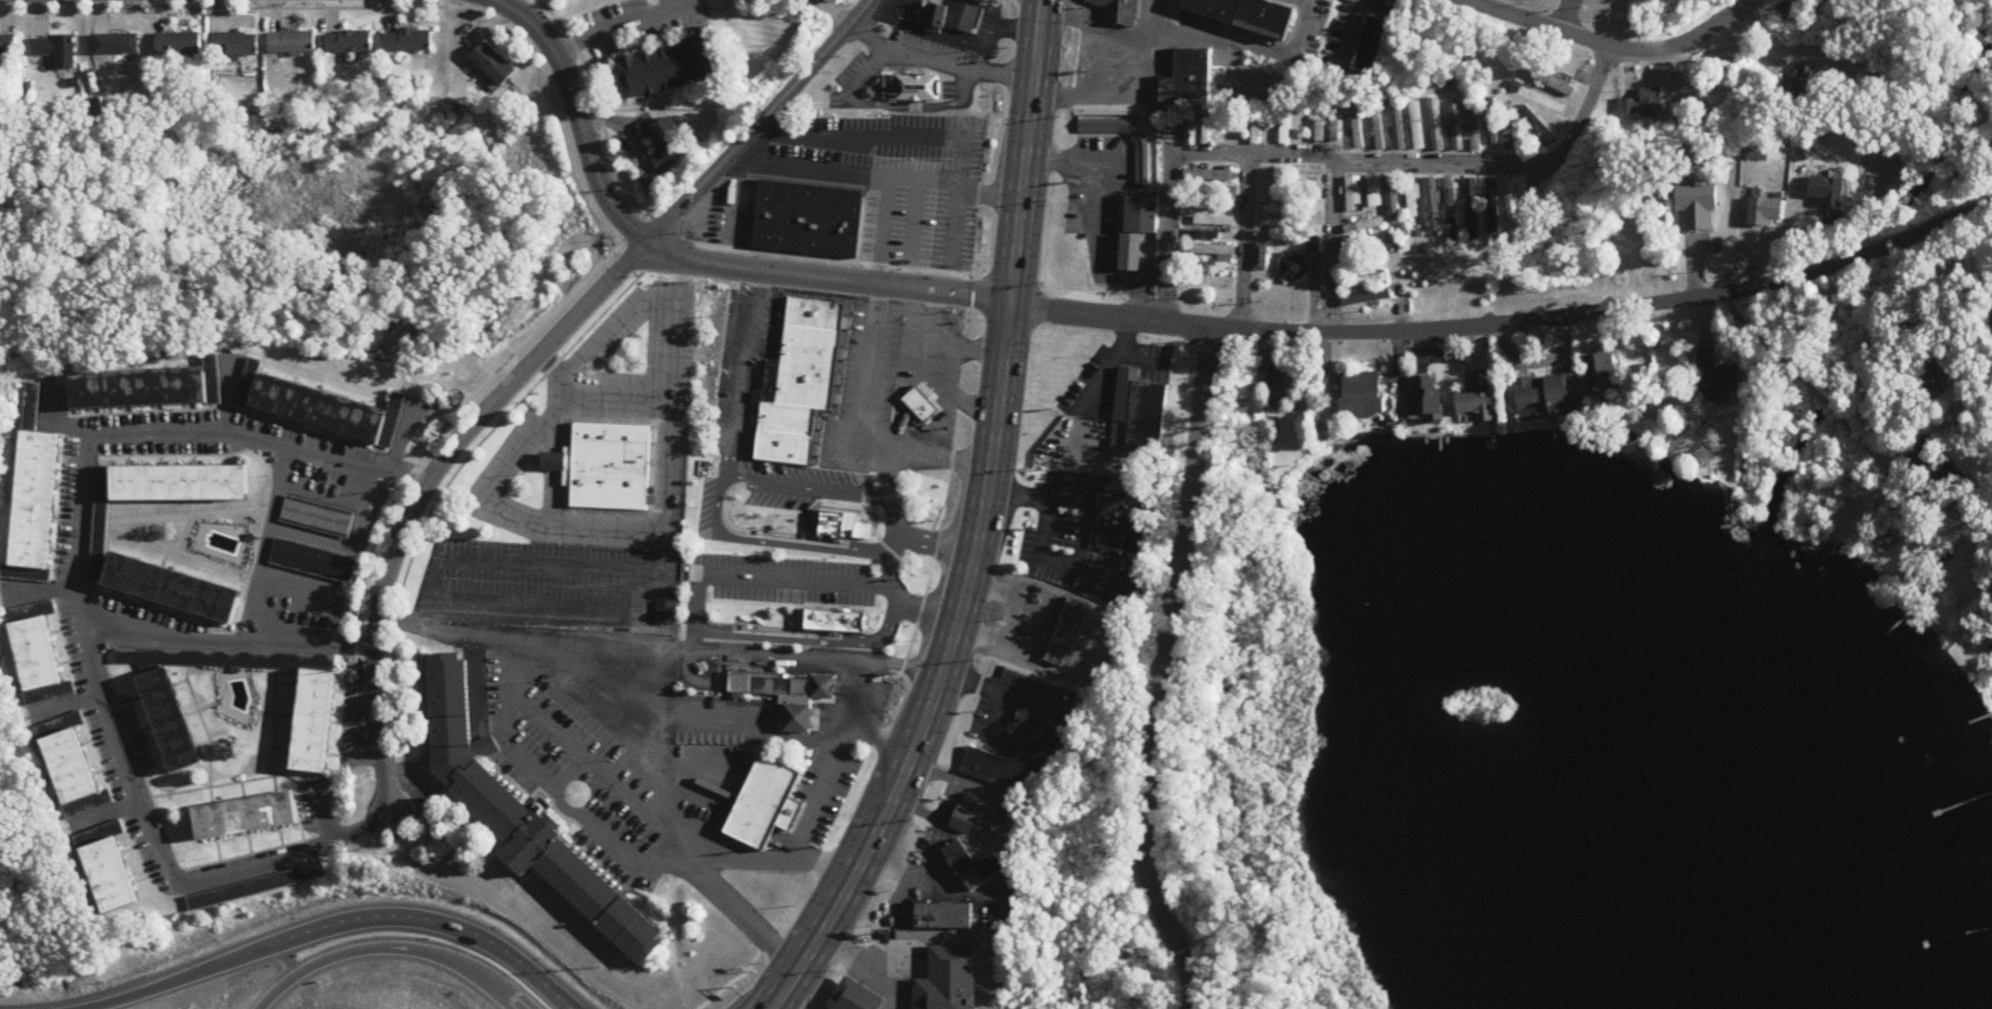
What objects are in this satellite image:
road: (379, 8)
building: (1118, 10)
building: (1247, 15)
road: (1565, 16)
building: (958, 17)
road: (626, 25)
road: (1096, 28)
road: (1001, 36)
building: (408, 42)
building: (292, 44)
building: (349, 44)
building: (117, 45)
building: (179, 45)
building: (236, 46)
road: (1256, 46)
building: (1373, 46)
building: (7, 48)
road: (1612, 48)
building: (1335, 50)
building: (56, 51)
road: (938, 60)
building: (493, 65)
building: (670, 69)
road: (863, 72)
building: (1189, 83)
building: (1552, 83)
building: (1805, 84)
building: (911, 89)
road: (1135, 97)
building: (1539, 99)
building: (1643, 105)
road: (920, 107)
road: (579, 114)
road: (759, 120)
building: (1320, 122)
building: (1492, 124)
building: (1304, 125)
building: (1436, 125)
building: (1336, 126)
building: (1417, 126)
building: (1538, 126)
building: (1398, 127)
building: (1456, 128)
building: (1475, 128)
building: (1285, 129)
building: (1357, 129)
building: (1256, 130)
building: (1190, 132)
building: (1207, 132)
building: (1378, 132)
road: (878, 134)
building: (664, 143)
road: (1025, 151)
building: (1758, 154)
road: (1427, 163)
building: (1141, 167)
road: (875, 173)
building: (1308, 175)
building: (1208, 176)
road: (1096, 186)
building: (1215, 191)
building: (1374, 192)
building: (1828, 193)
building: (1353, 194)
building: (1304, 197)
road: (734, 198)
building: (1412, 198)
building: (1392, 200)
building: (1512, 201)
building: (1451, 202)
building: (1432, 205)
building: (1199, 206)
building: (1493, 206)
building: (1698, 208)
building: (1474, 210)
building: (1271, 211)
building: (1138, 212)
building: (1766, 214)
road: (912, 216)
building: (807, 218)
building: (1305, 220)
building: (1215, 222)
road: (954, 224)
road: (861, 226)
building: (1364, 227)
road: (885, 230)
building: (1206, 236)
road: (682, 238)
road: (1168, 239)
road: (1244, 243)
building: (1364, 244)
building: (1313, 246)
road: (1331, 247)
building: (1129, 251)
building: (1215, 253)
building: (1261, 258)
road: (625, 265)
building: (1295, 268)
road: (828, 278)
building: (1364, 282)
building: (1367, 298)
building: (816, 313)
road: (1509, 324)
building: (1987, 324)
road: (942, 344)
building: (812, 347)
road: (1771, 347)
road: (551, 364)
road: (744, 374)
building: (1602, 374)
building: (1717, 377)
building: (1274, 378)
building: (1935, 381)
building: (799, 385)
road: (949, 388)
building: (150, 389)
road: (230, 392)
road: (611, 393)
building: (1364, 393)
building: (1550, 393)
building: (1427, 395)
building: (1478, 397)
building: (35, 402)
road: (1828, 403)
building: (922, 405)
building: (328, 411)
building: (1140, 414)
road: (458, 416)
building: (789, 419)
road: (54, 424)
road: (552, 432)
road: (856, 433)
road: (404, 435)
building: (785, 447)
road: (522, 452)
building: (551, 460)
building: (1920, 460)
road: (550, 461)
road: (1884, 462)
building: (606, 465)
road: (889, 473)
road: (456, 477)
road: (766, 484)
road: (424, 490)
road: (849, 493)
road: (83, 494)
road: (549, 495)
road: (1073, 498)
building: (36, 503)
building: (1963, 514)
building: (318, 515)
building: (815, 515)
road: (192, 517)
road: (900, 519)
building: (840, 520)
building: (1123, 520)
road: (752, 524)
building: (99, 525)
road: (184, 535)
road: (863, 536)
road: (268, 544)
road: (942, 547)
road: (183, 553)
road: (660, 559)
building: (314, 560)
road: (896, 563)
road: (54, 570)
road: (777, 579)
road: (38, 589)
building: (297, 601)
road: (555, 605)
road: (929, 607)
building: (666, 611)
building: (1073, 616)
road: (1011, 618)
building: (837, 620)
building: (1065, 637)
road: (808, 639)
road: (226, 642)
road: (630, 653)
building: (1059, 653)
road: (340, 655)
building: (39, 661)
road: (941, 673)
road: (1165, 673)
building: (789, 694)
road: (67, 705)
road: (1045, 709)
building: (170, 720)
building: (315, 720)
road: (728, 722)
road: (344, 723)
road: (566, 733)
road: (631, 736)
road: (876, 740)
building: (1019, 762)
building: (74, 774)
road: (624, 787)
flagpole: (577, 793)
road: (819, 793)
road: (152, 797)
building: (768, 804)
road: (404, 806)
road: (330, 811)
building: (970, 813)
road: (106, 815)
building: (248, 815)
building: (524, 815)
road: (610, 838)
flagpole: (772, 849)
road: (286, 858)
building: (975, 867)
building: (112, 876)
building: (945, 917)
road: (933, 936)
road: (303, 938)
road: (396, 945)
road: (743, 977)
building: (950, 980)
road: (771, 985)
road: (890, 985)
road: (542, 995)
road: (546, 995)
building: (857, 997)
road: (781, 1005)

